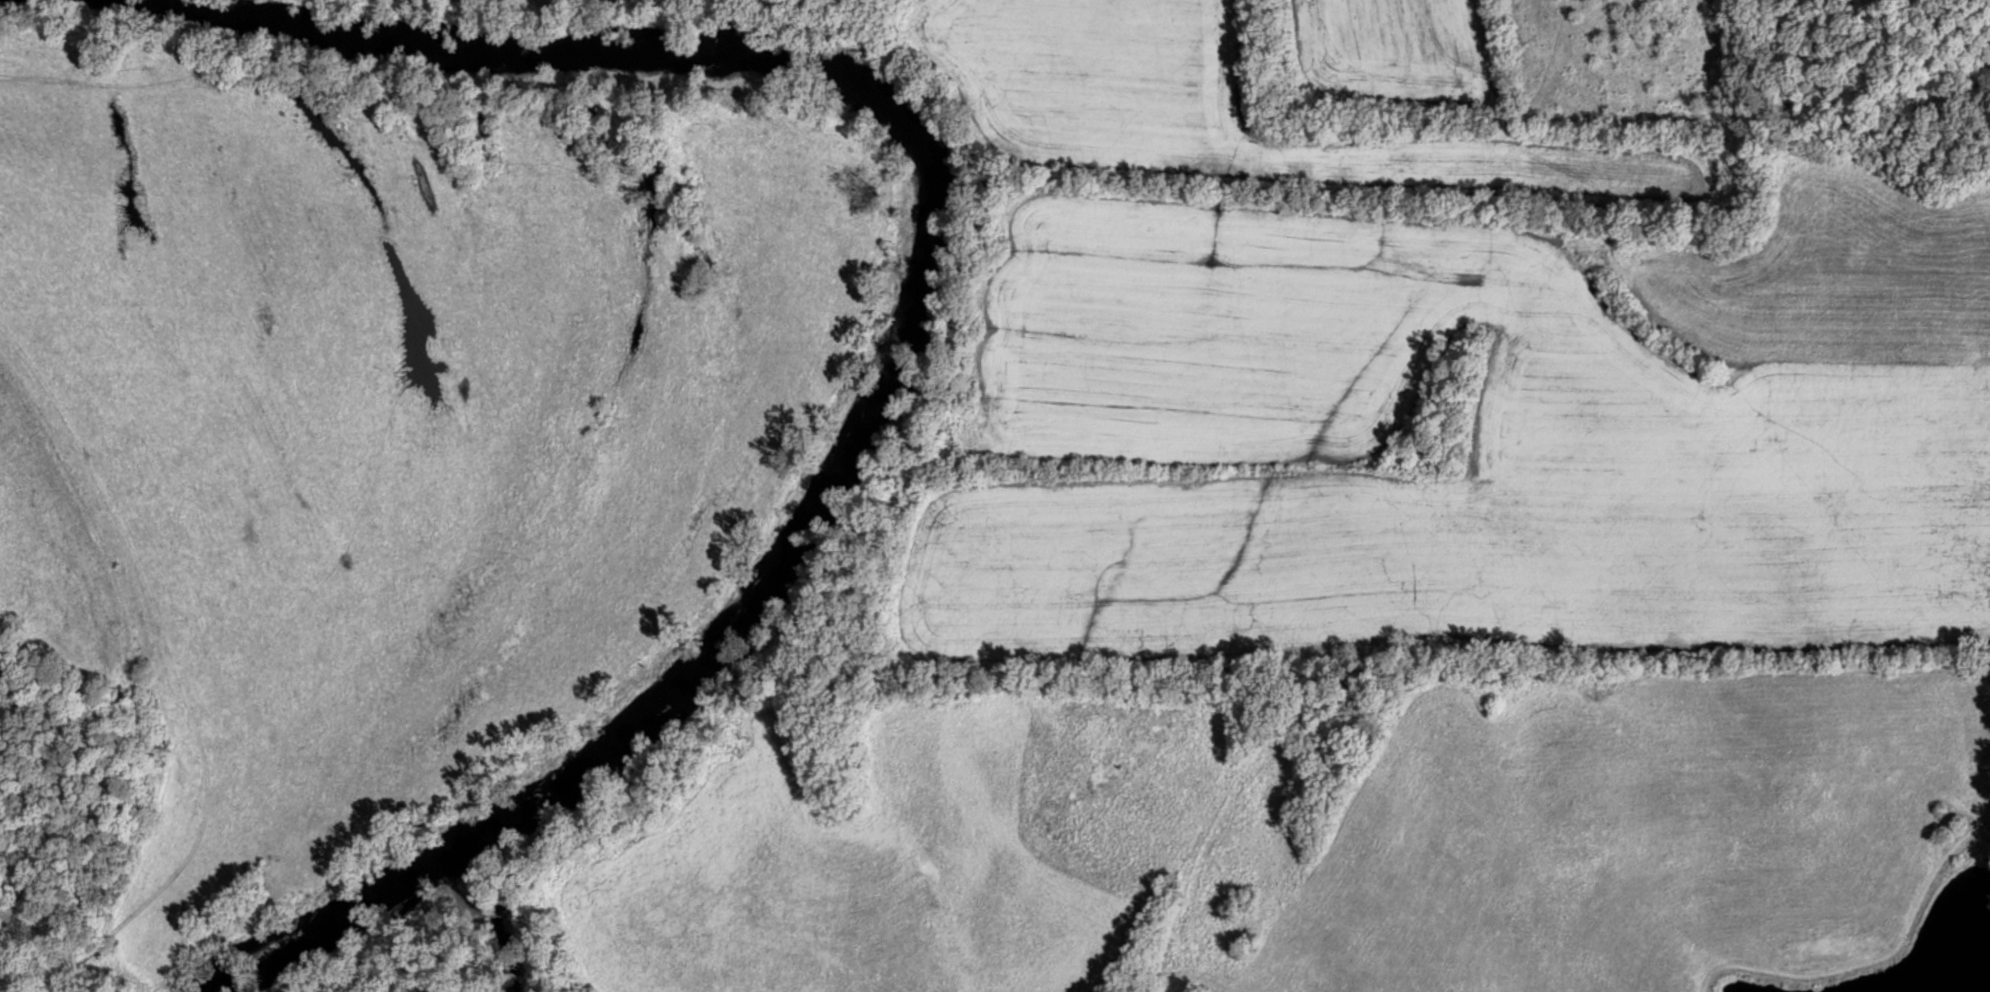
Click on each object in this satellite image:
river: (898, 348)

